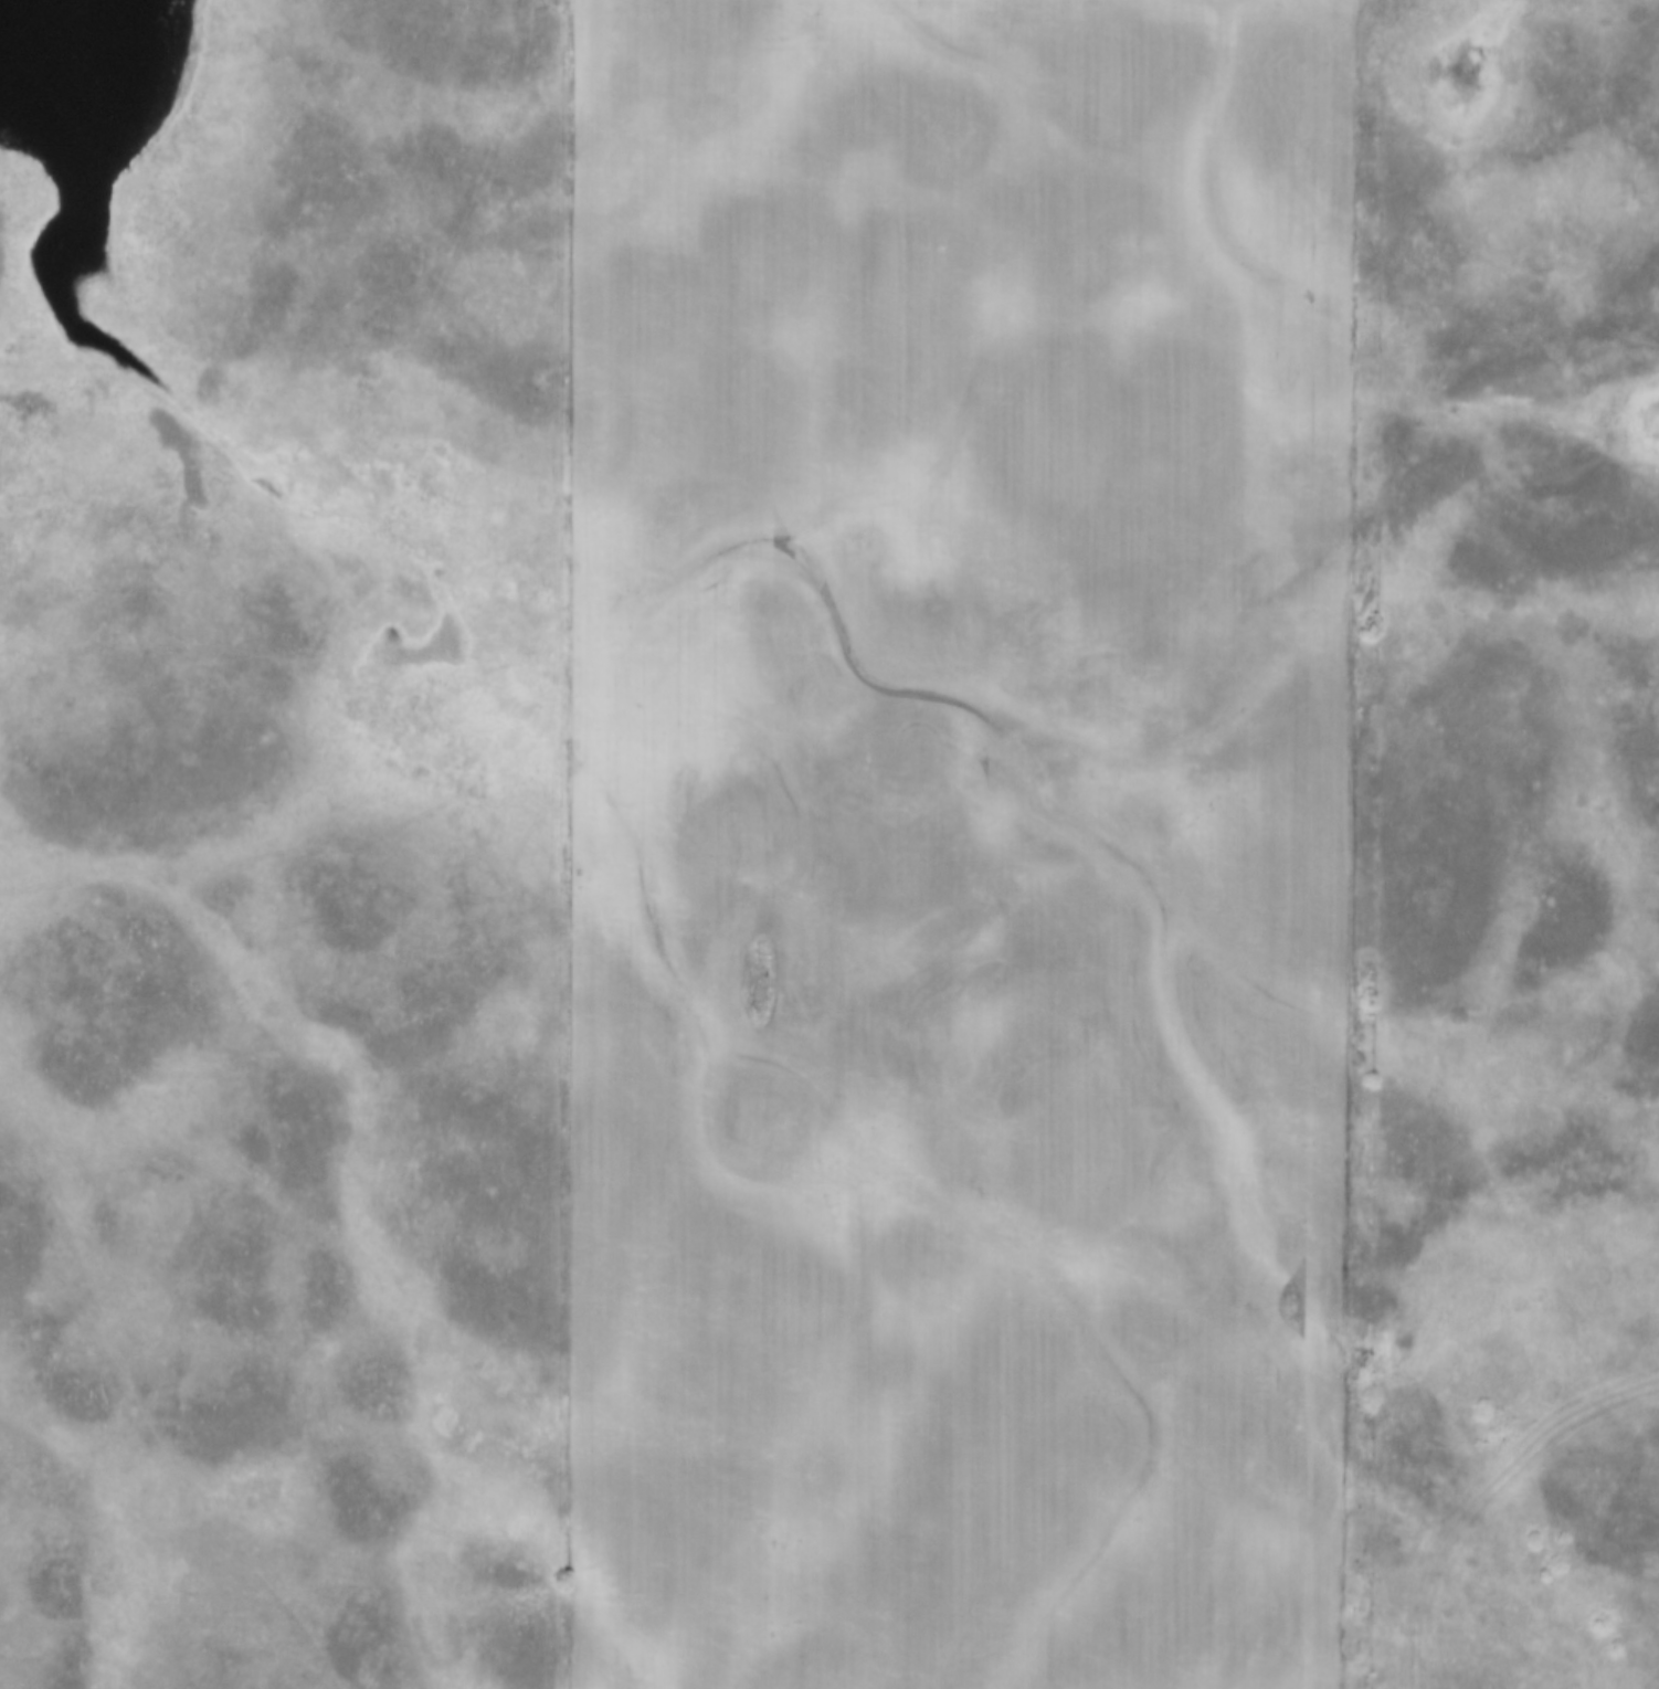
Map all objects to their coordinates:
road: (342, 381)

